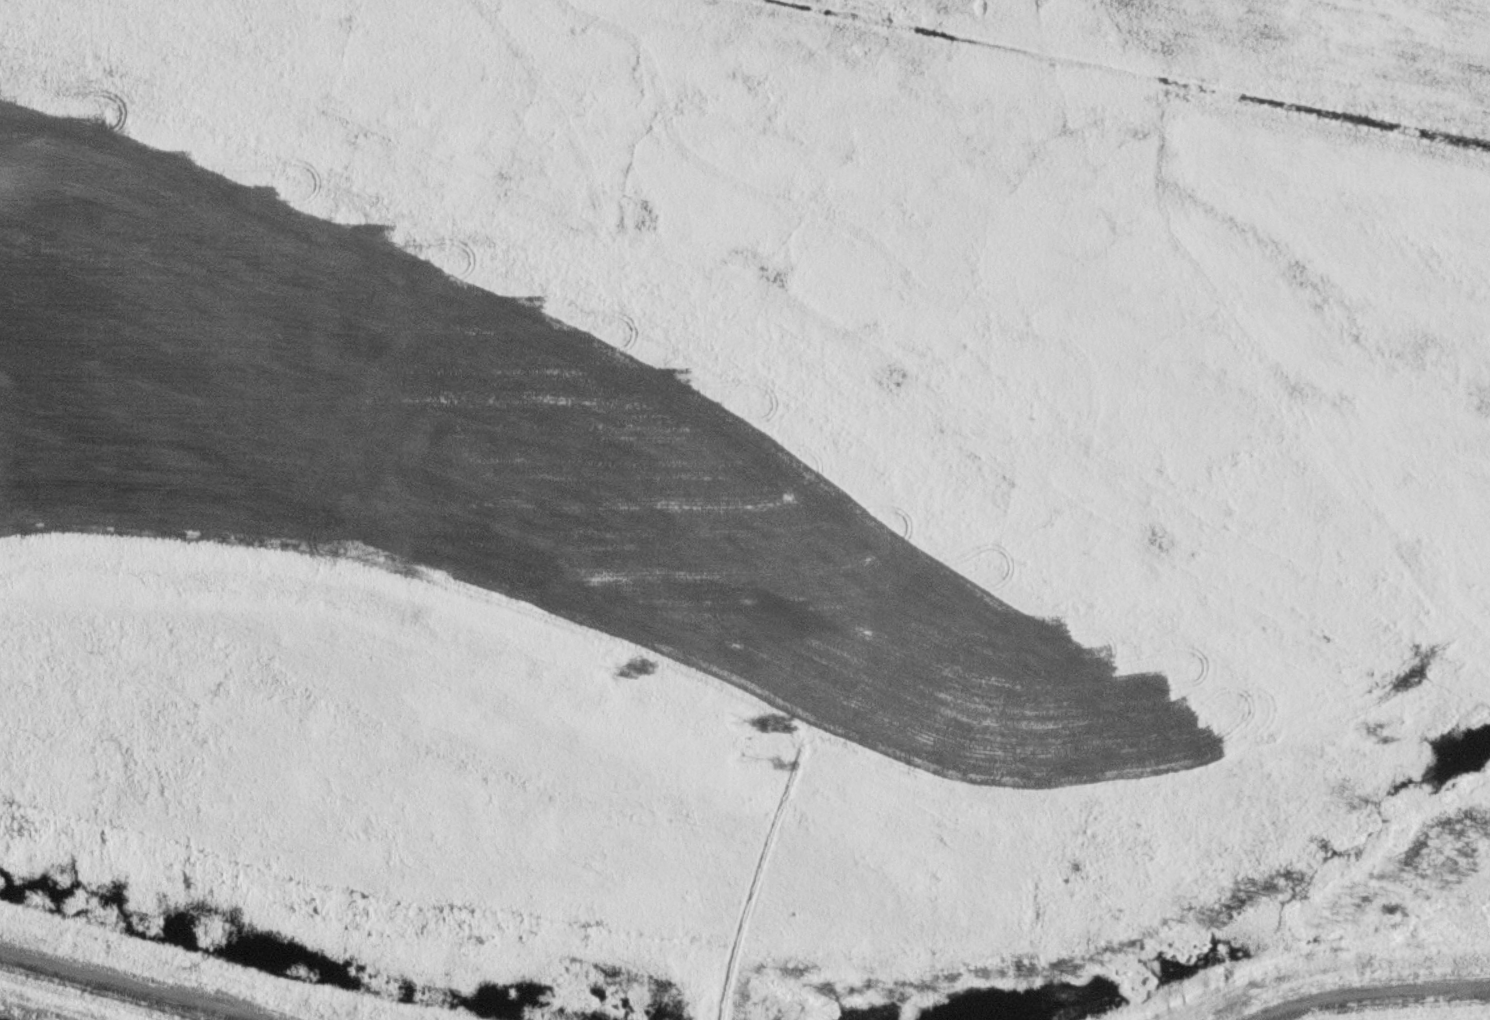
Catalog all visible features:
road: (123, 987)
road: (1375, 995)

